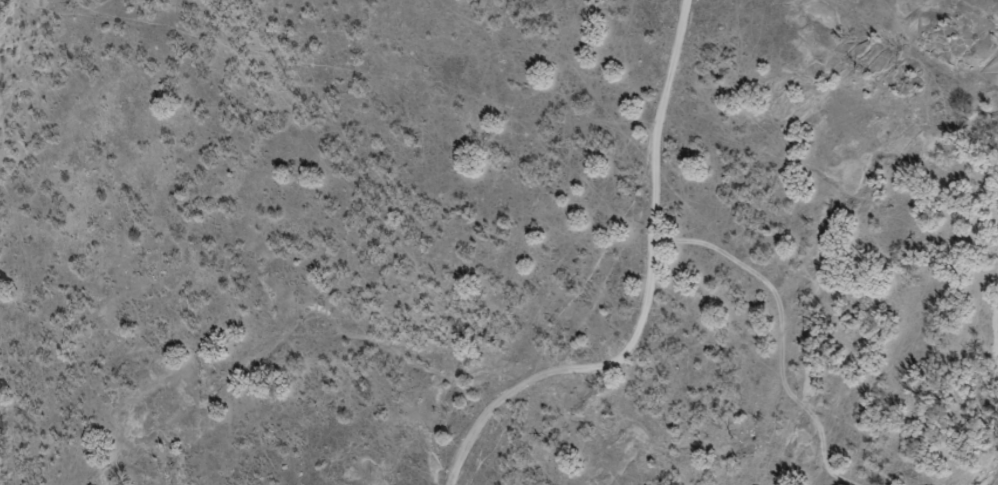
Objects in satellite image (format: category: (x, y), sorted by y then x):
road: (7, 57)
road: (648, 282)

